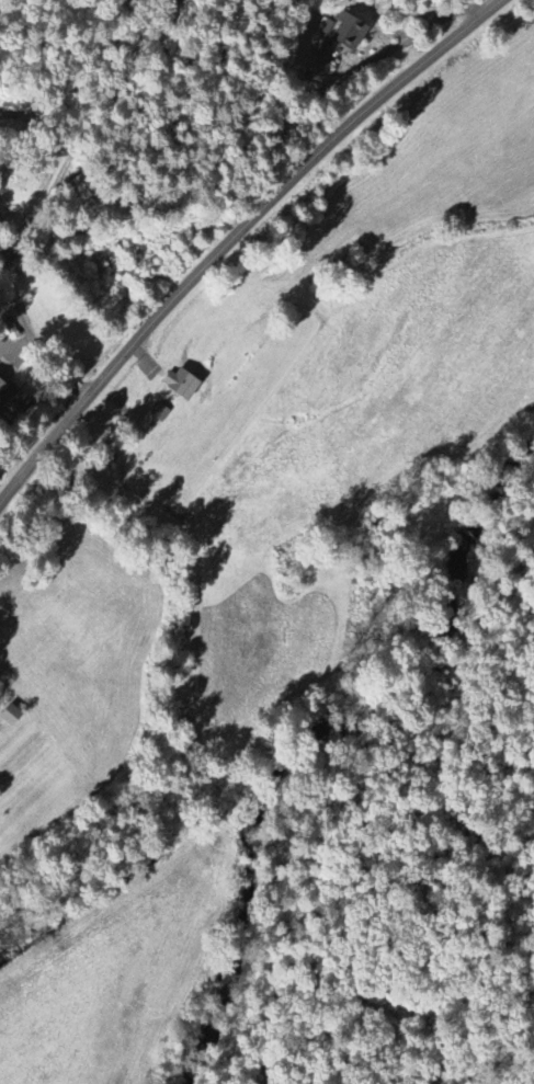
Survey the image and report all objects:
building: (342, 32)
road: (375, 60)
road: (84, 114)
road: (235, 237)
road: (18, 307)
building: (184, 384)
building: (11, 398)
building: (162, 412)
river: (452, 600)
building: (13, 716)
river: (242, 894)

